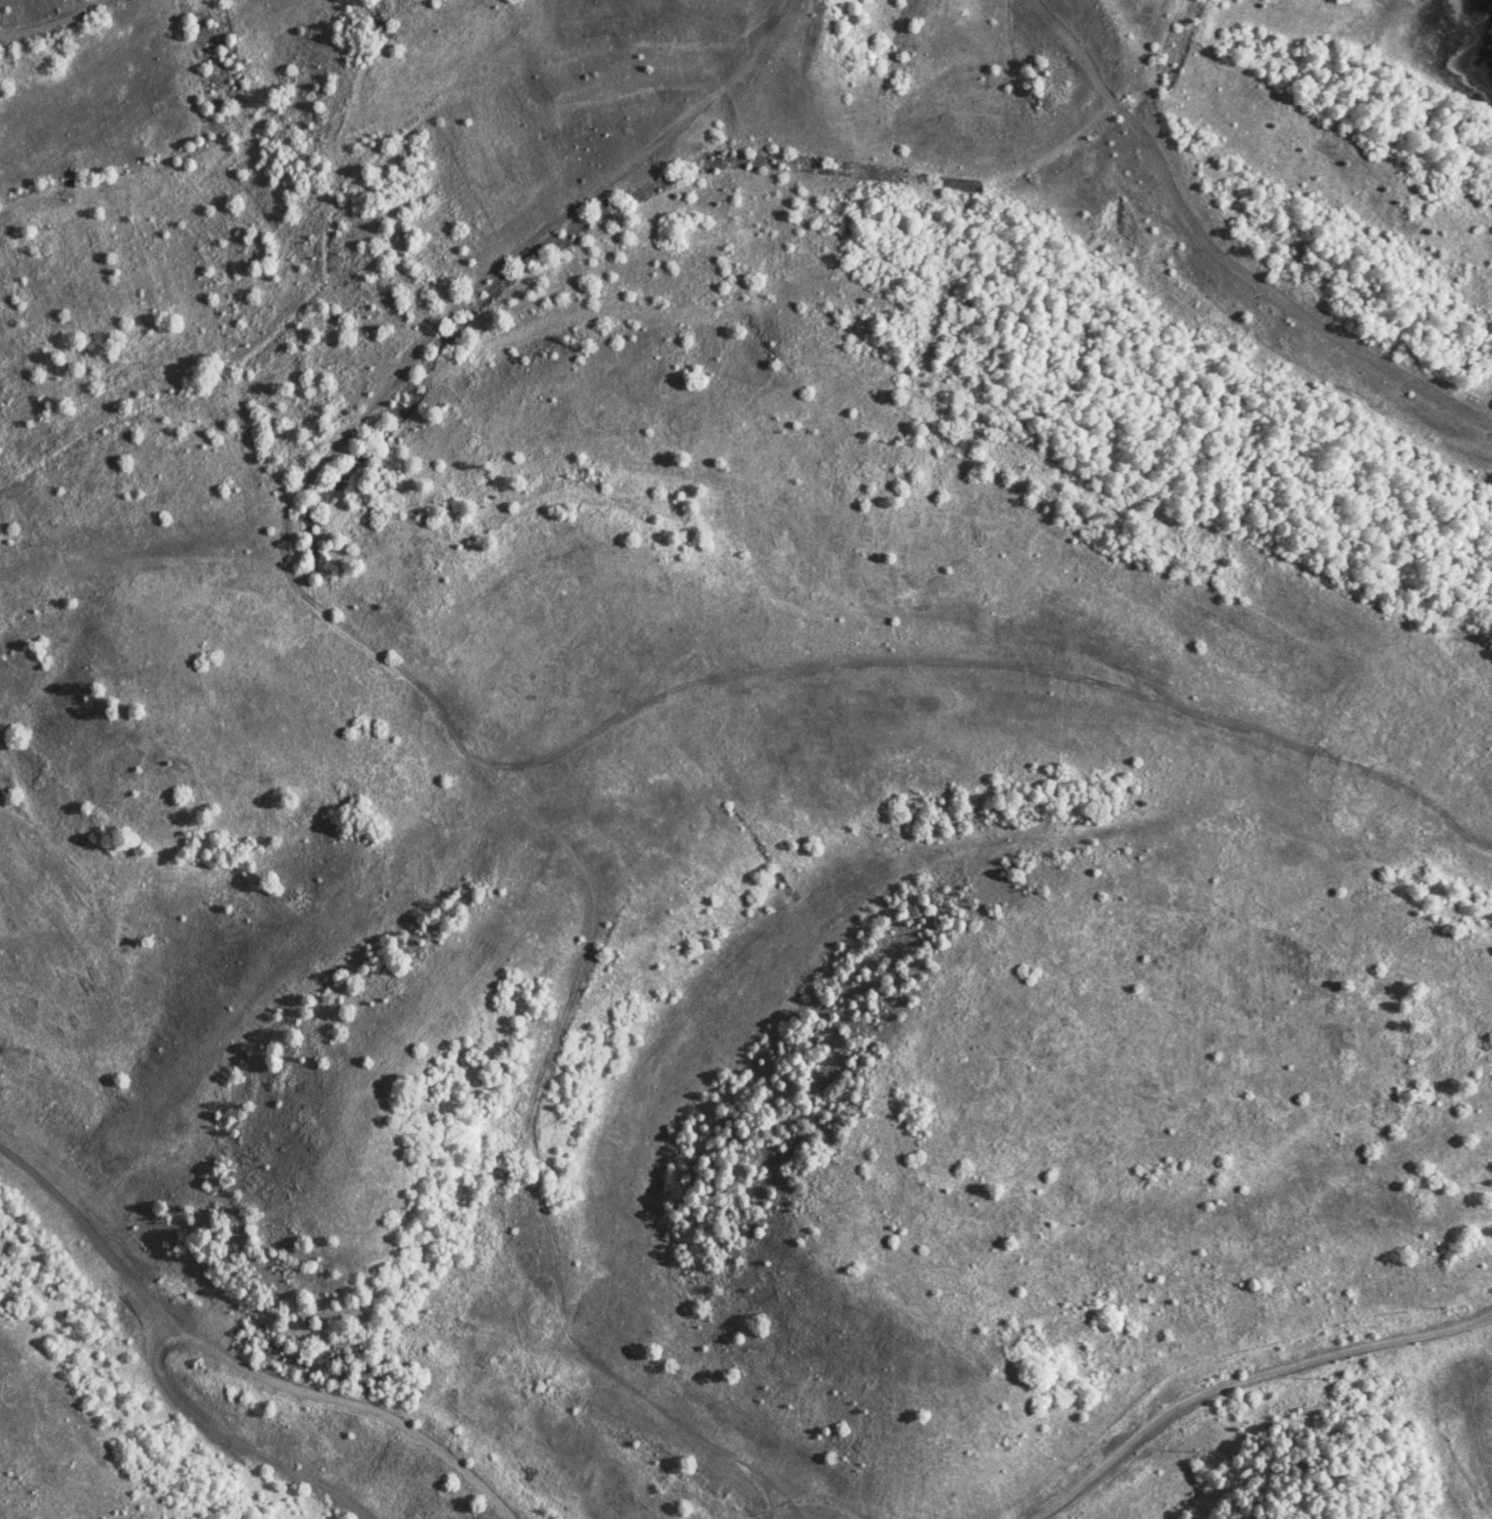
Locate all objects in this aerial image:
quarry: (741, 754)

